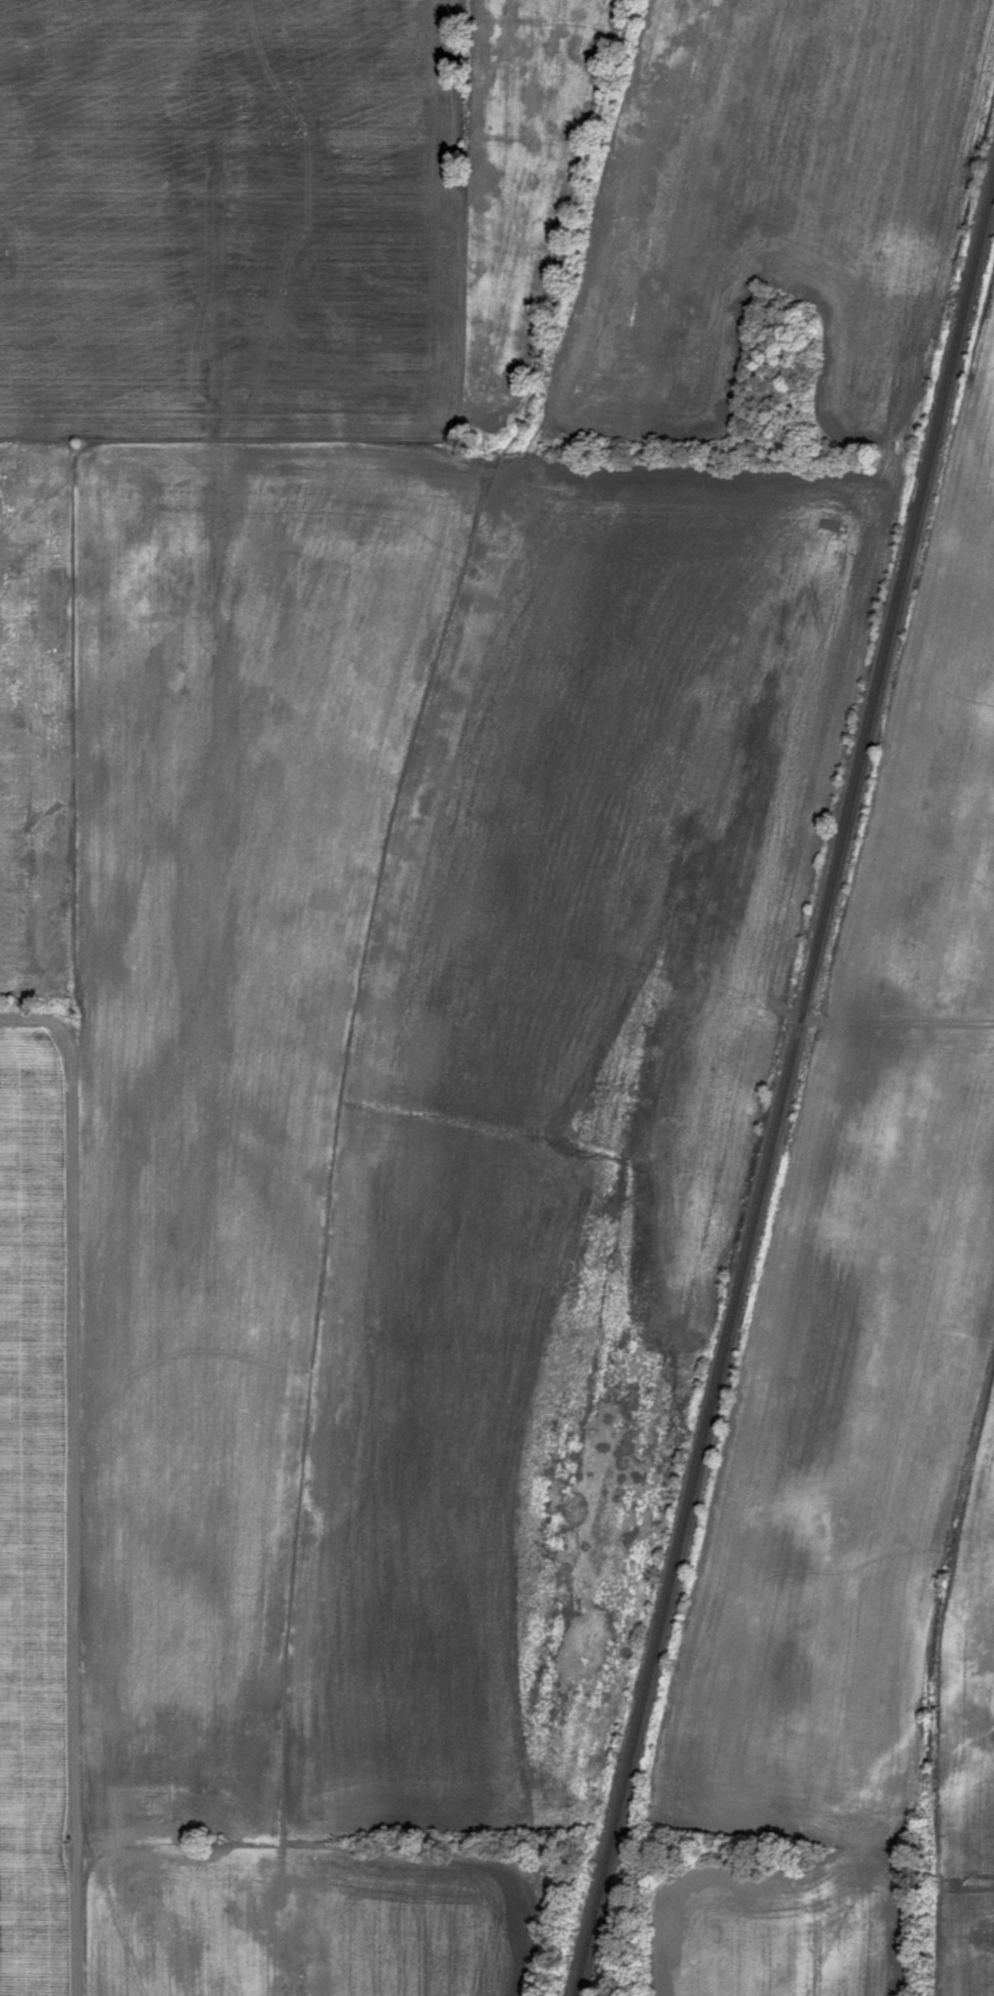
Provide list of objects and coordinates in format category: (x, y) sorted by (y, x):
park: (775, 376)
road: (851, 616)
railway: (784, 1087)

